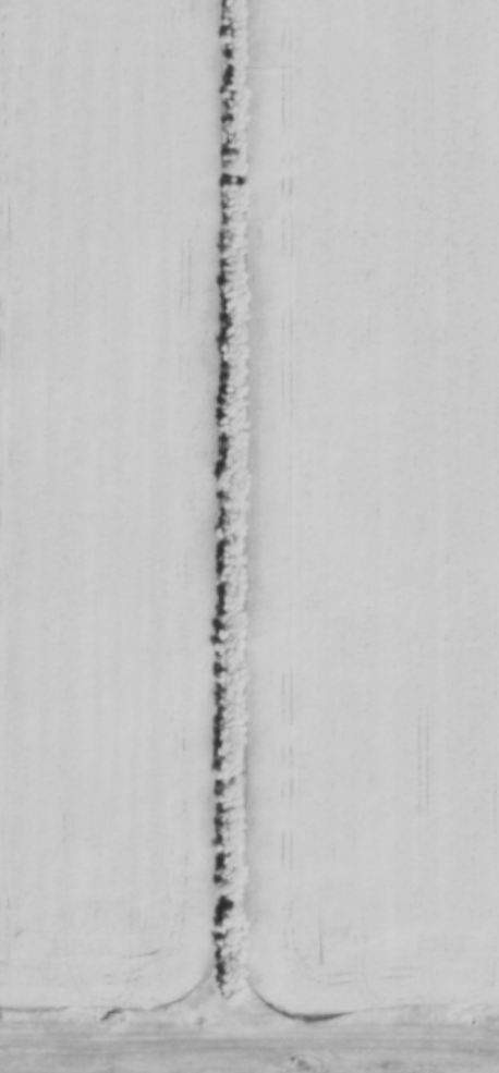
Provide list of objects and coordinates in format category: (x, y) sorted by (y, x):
road: (249, 1040)

